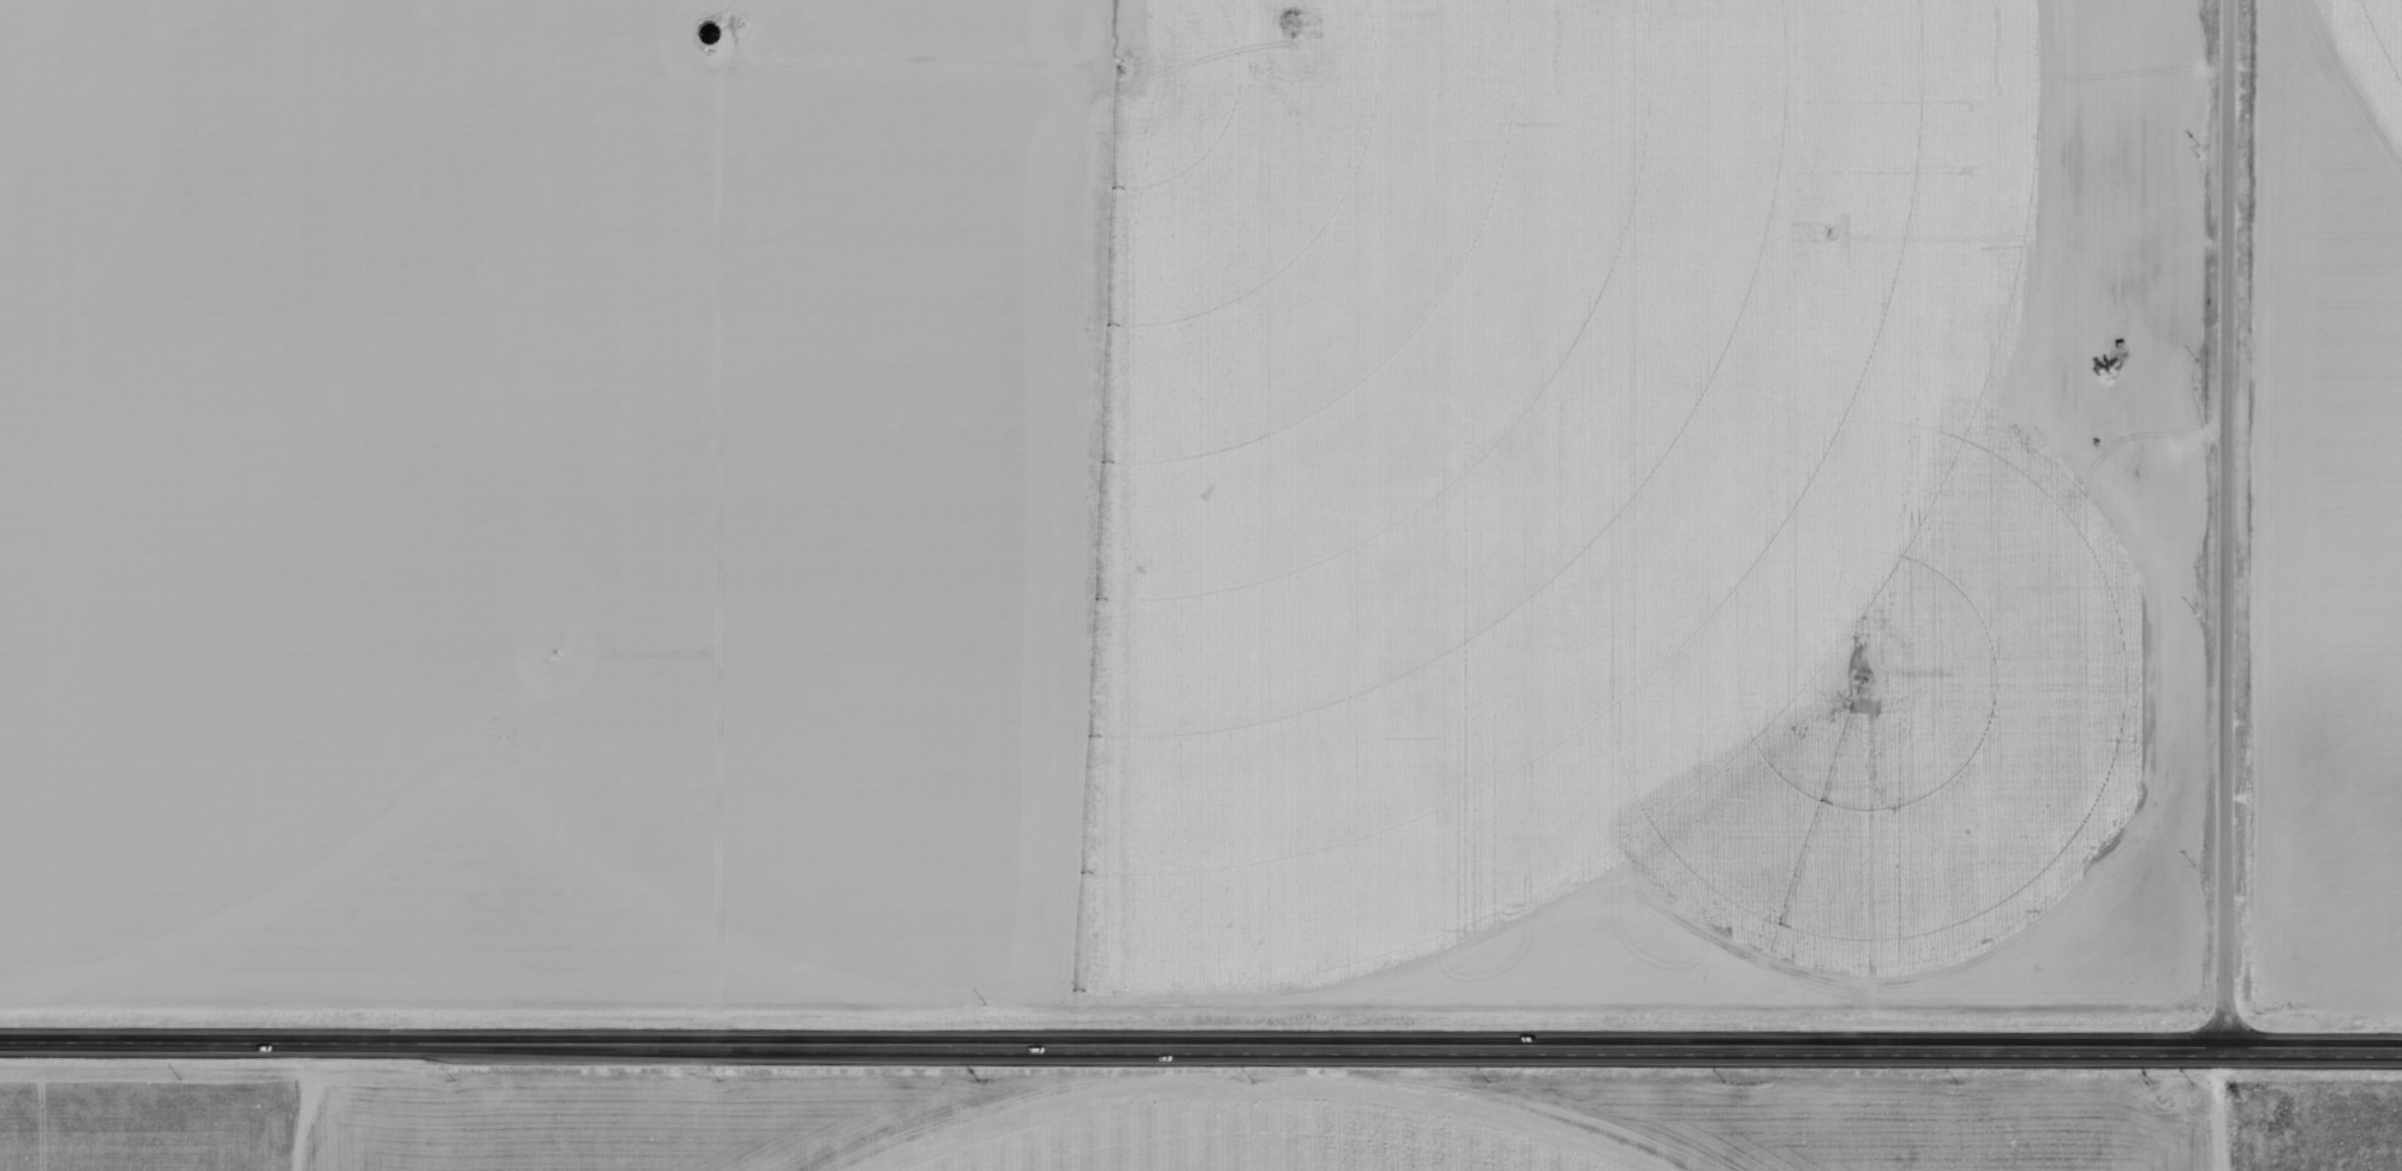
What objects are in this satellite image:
road: (2223, 522)
road: (1201, 1044)

